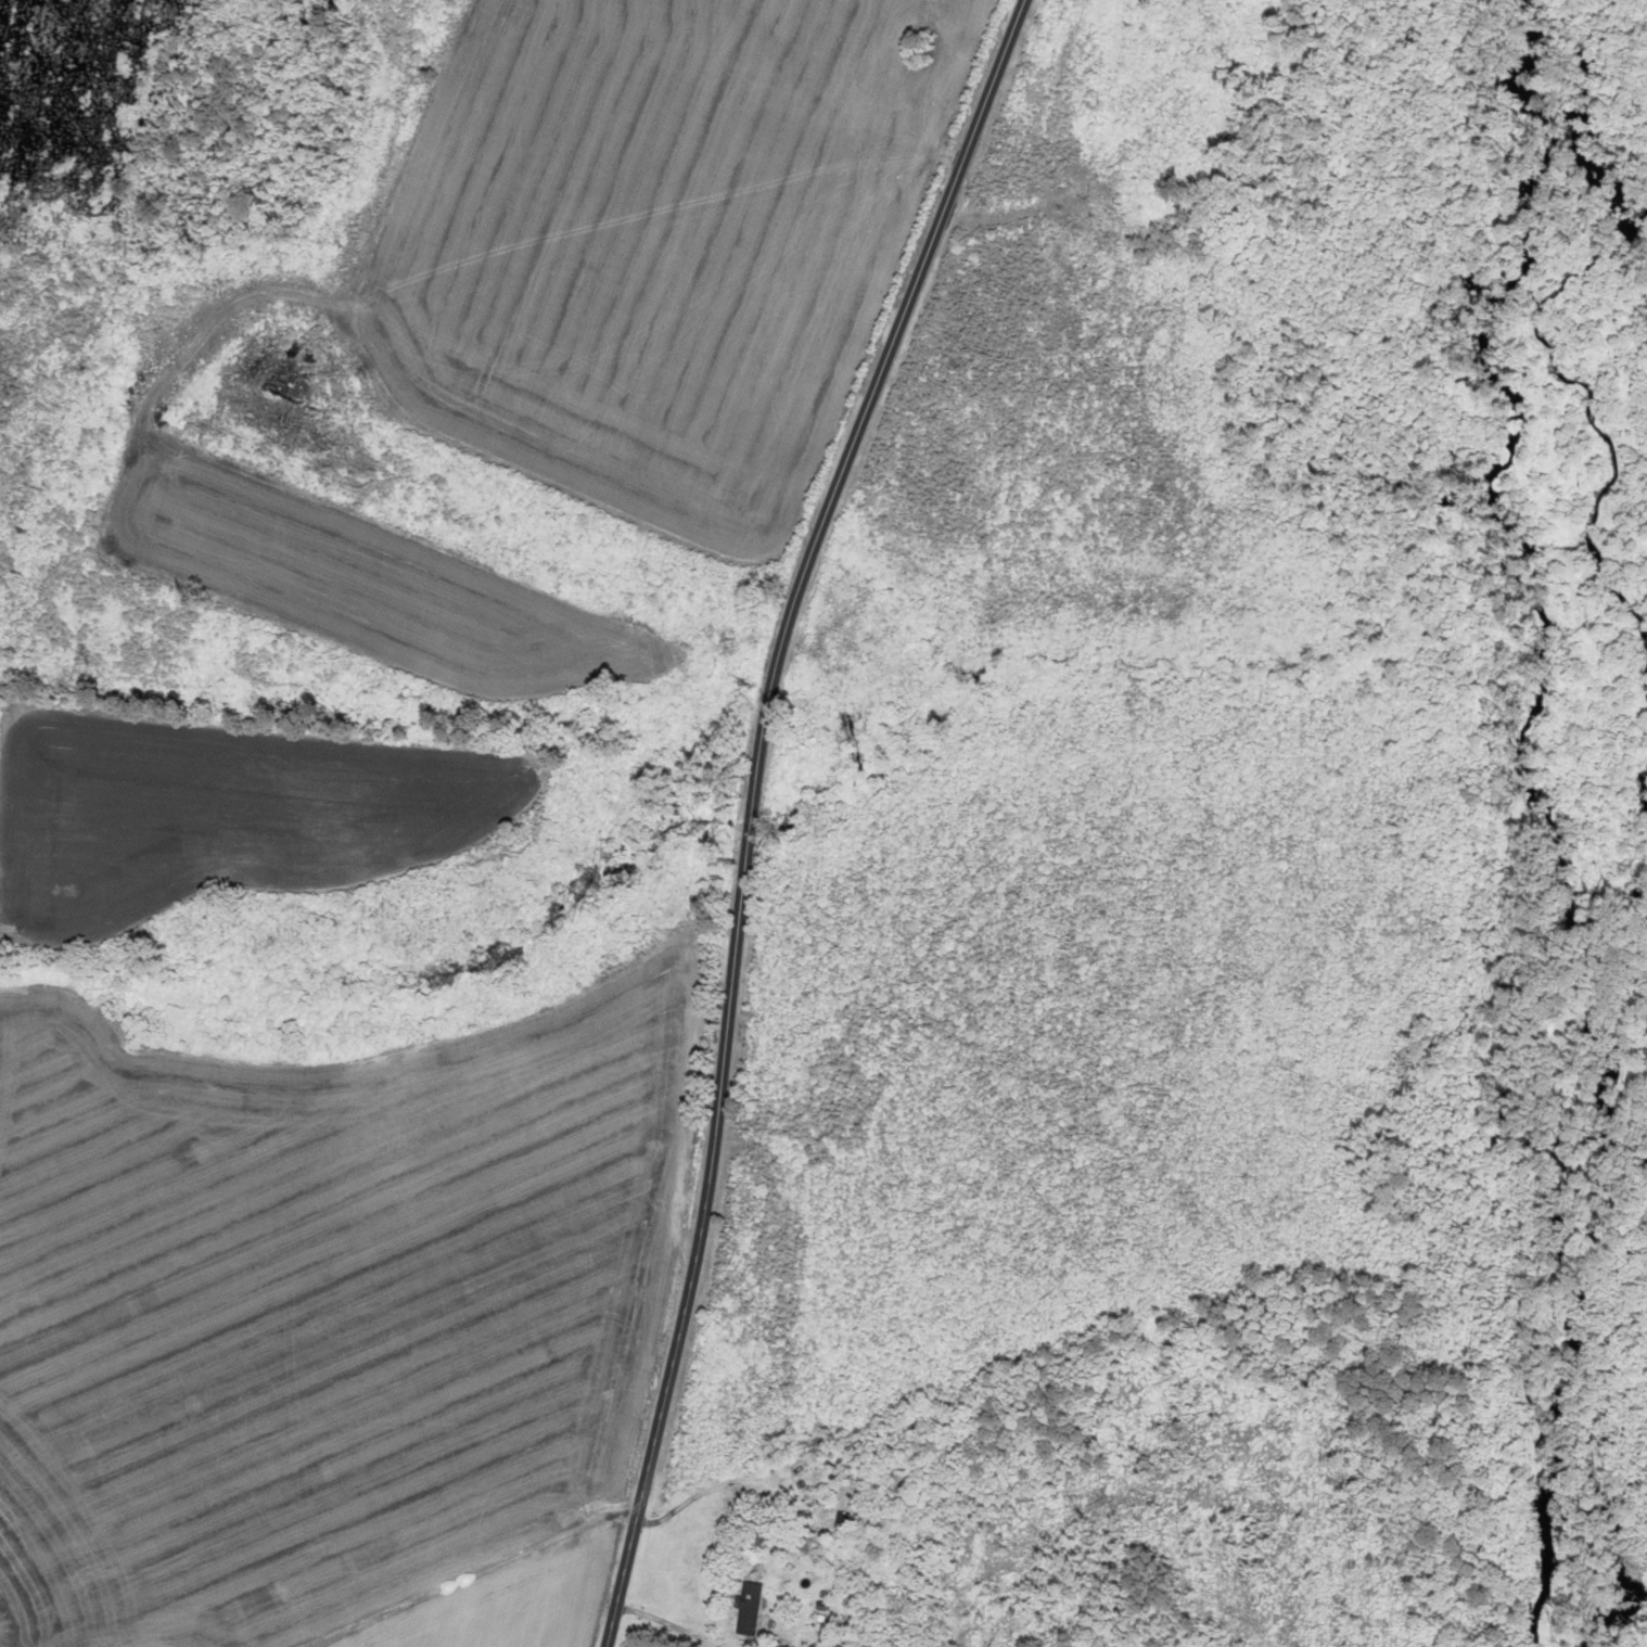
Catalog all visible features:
road: (1003, 590)
road: (754, 804)
building: (758, 1521)
building: (748, 1610)

